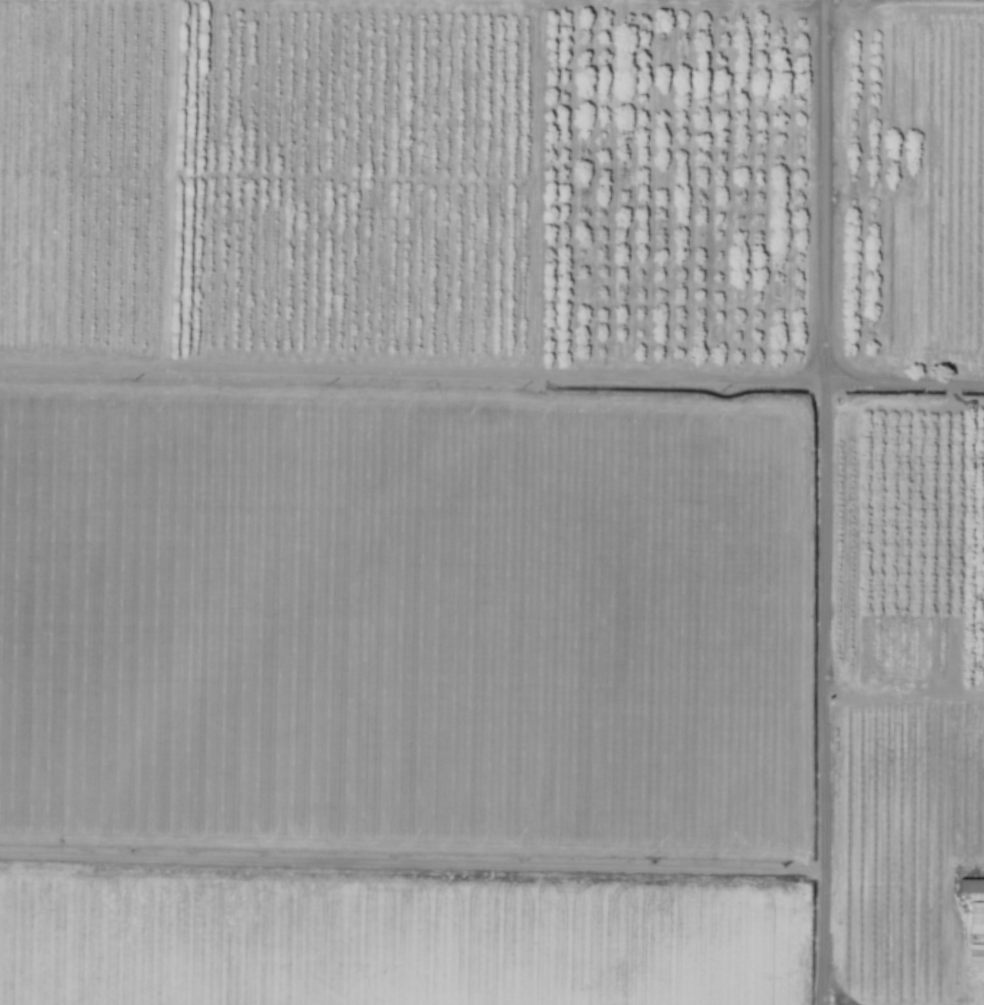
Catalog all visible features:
road: (492, 371)
road: (822, 502)
road: (410, 861)
building: (971, 885)
road: (835, 985)

